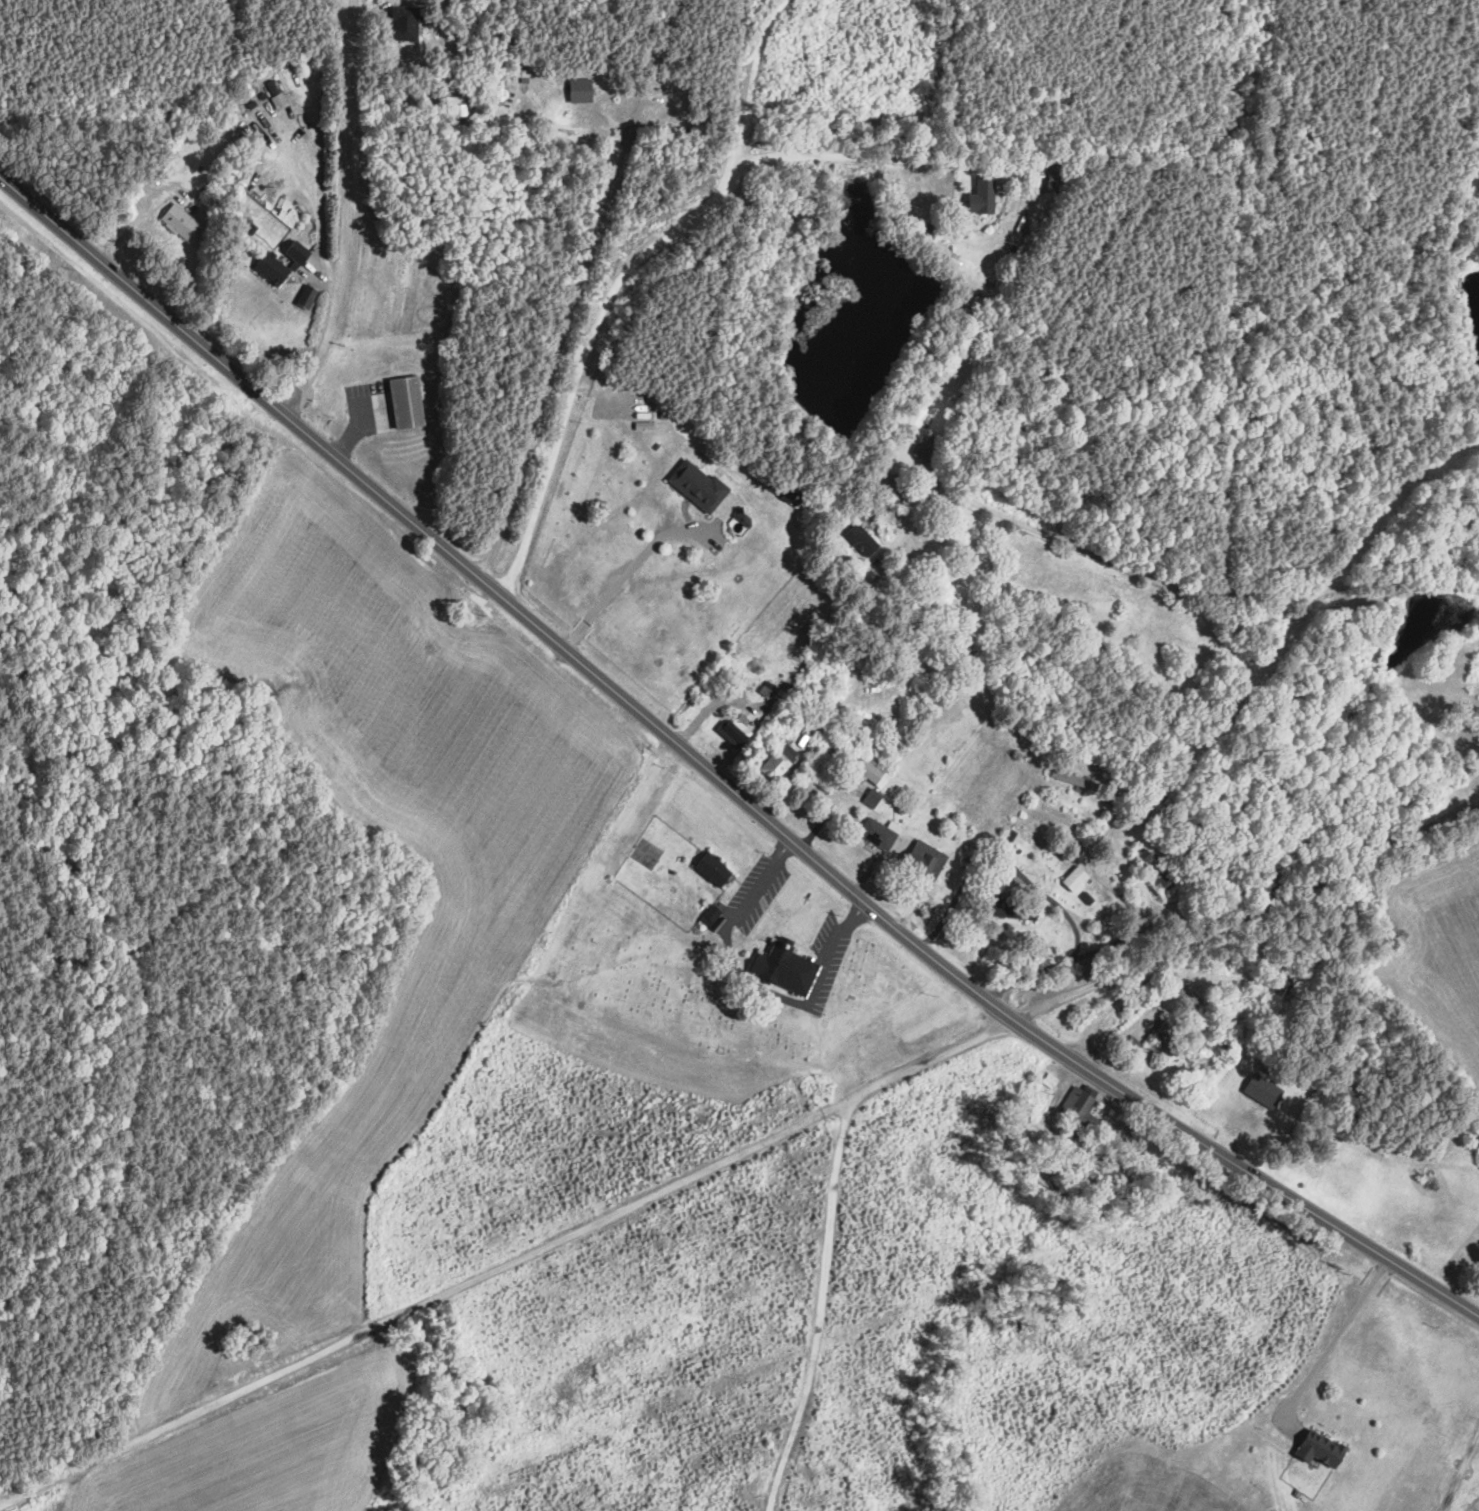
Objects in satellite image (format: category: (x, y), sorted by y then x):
building: (406, 28)
building: (522, 76)
building: (272, 88)
building: (580, 90)
building: (458, 106)
road: (878, 157)
road: (1147, 162)
building: (1051, 174)
building: (981, 194)
road: (1278, 195)
road: (344, 213)
road: (139, 218)
building: (180, 222)
building: (298, 252)
building: (273, 270)
road: (618, 276)
road: (579, 290)
building: (307, 296)
building: (407, 403)
building: (927, 448)
building: (894, 484)
building: (698, 486)
building: (788, 493)
building: (743, 515)
building: (863, 543)
road: (1157, 581)
road: (619, 582)
road: (699, 714)
building: (733, 729)
building: (799, 734)
road: (802, 742)
building: (777, 766)
building: (874, 770)
road: (717, 778)
building: (1074, 781)
building: (871, 798)
road: (1471, 801)
road: (826, 811)
building: (1161, 830)
building: (959, 833)
building: (881, 838)
building: (1009, 838)
road: (783, 849)
park: (645, 853)
building: (1143, 855)
road: (1004, 859)
building: (924, 860)
building: (713, 869)
road: (864, 877)
building: (1163, 878)
building: (1075, 879)
road: (753, 890)
parking lot: (756, 894)
building: (1086, 899)
road: (912, 903)
building: (1017, 910)
road: (1249, 914)
building: (710, 915)
road: (854, 917)
building: (717, 925)
road: (1135, 931)
crop: (1439, 946)
parking lot: (827, 960)
road: (825, 967)
building: (786, 968)
road: (745, 979)
road: (1141, 980)
park: (723, 987)
building: (1186, 995)
building: (1164, 1034)
road: (1117, 1036)
building: (1266, 1069)
building: (1050, 1081)
building: (1263, 1091)
road: (1096, 1092)
building: (1080, 1112)
building: (1021, 1115)
crop: (1474, 1119)
road: (1066, 1143)
building: (1054, 1146)
building: (1044, 1181)
crop: (1399, 1202)
road: (502, 1265)
road: (815, 1330)
road: (1328, 1347)
road: (393, 1414)
building: (1318, 1449)
crop: (265, 1451)
road: (772, 1452)
crop: (1433, 1454)
road: (1459, 1471)
road: (90, 1472)
crop: (1153, 1481)
road: (71, 1485)
crop: (1465, 1497)

